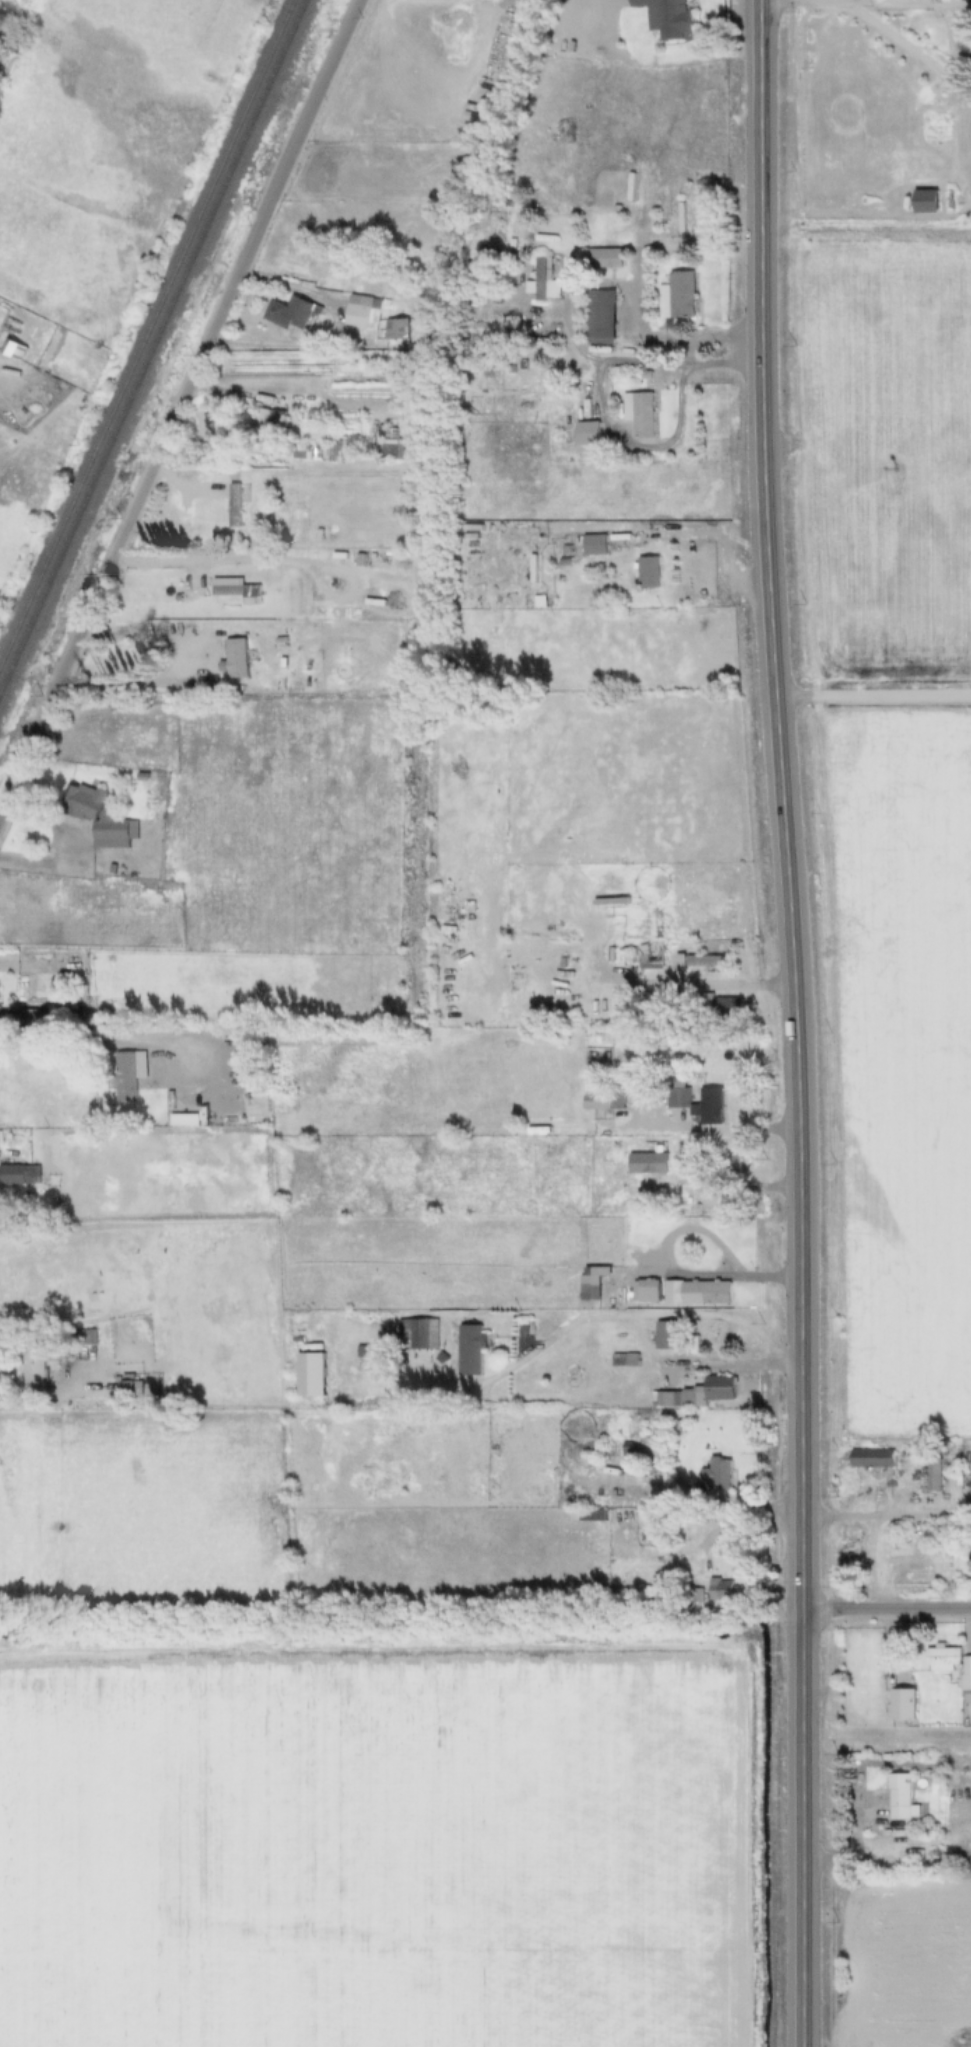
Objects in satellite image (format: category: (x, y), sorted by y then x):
road: (828, 1)
building: (669, 17)
road: (904, 46)
building: (806, 63)
road: (966, 65)
building: (936, 202)
building: (608, 257)
building: (544, 281)
building: (679, 295)
building: (365, 311)
building: (292, 313)
building: (603, 317)
building: (398, 329)
railway: (147, 334)
road: (652, 337)
railway: (153, 347)
building: (16, 349)
road: (178, 401)
building: (642, 412)
road: (680, 419)
building: (591, 433)
building: (392, 442)
road: (727, 492)
building: (215, 501)
building: (597, 544)
road: (274, 557)
building: (651, 572)
building: (139, 603)
building: (238, 657)
road: (117, 682)
building: (103, 818)
building: (653, 957)
building: (705, 962)
building: (730, 1006)
road: (793, 1023)
road: (35, 1041)
building: (254, 1067)
building: (130, 1073)
building: (713, 1095)
building: (605, 1101)
building: (493, 1117)
building: (186, 1119)
road: (718, 1127)
building: (684, 1160)
building: (650, 1163)
building: (733, 1163)
building: (20, 1174)
road: (729, 1183)
building: (594, 1284)
building: (648, 1291)
building: (699, 1292)
road: (612, 1316)
building: (419, 1335)
building: (673, 1336)
building: (473, 1349)
building: (39, 1359)
building: (626, 1360)
road: (691, 1365)
building: (130, 1386)
building: (702, 1392)
road: (15, 1405)
building: (874, 1458)
building: (722, 1474)
building: (936, 1477)
road: (887, 1515)
building: (724, 1589)
road: (887, 1608)
building: (906, 1704)
building: (904, 1798)

